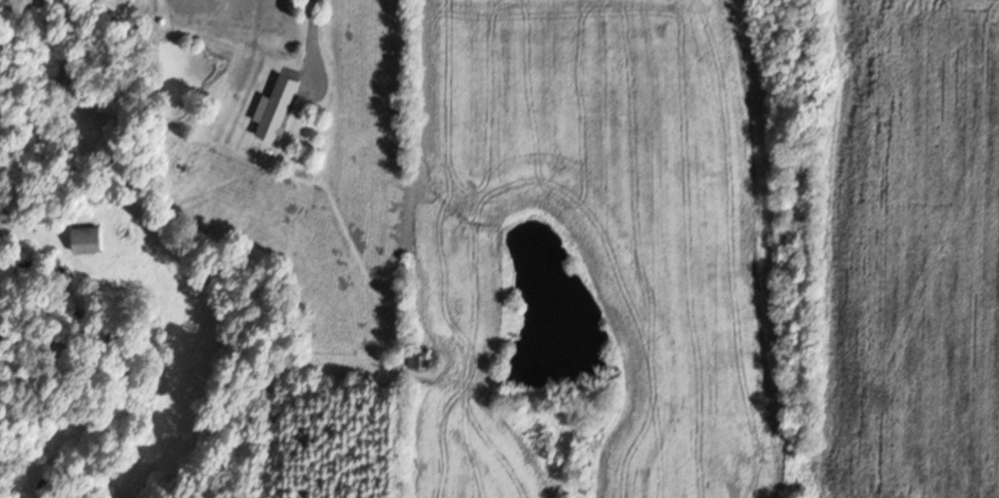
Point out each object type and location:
road: (308, 38)
building: (279, 107)
road: (401, 157)
building: (90, 238)
building: (420, 360)

